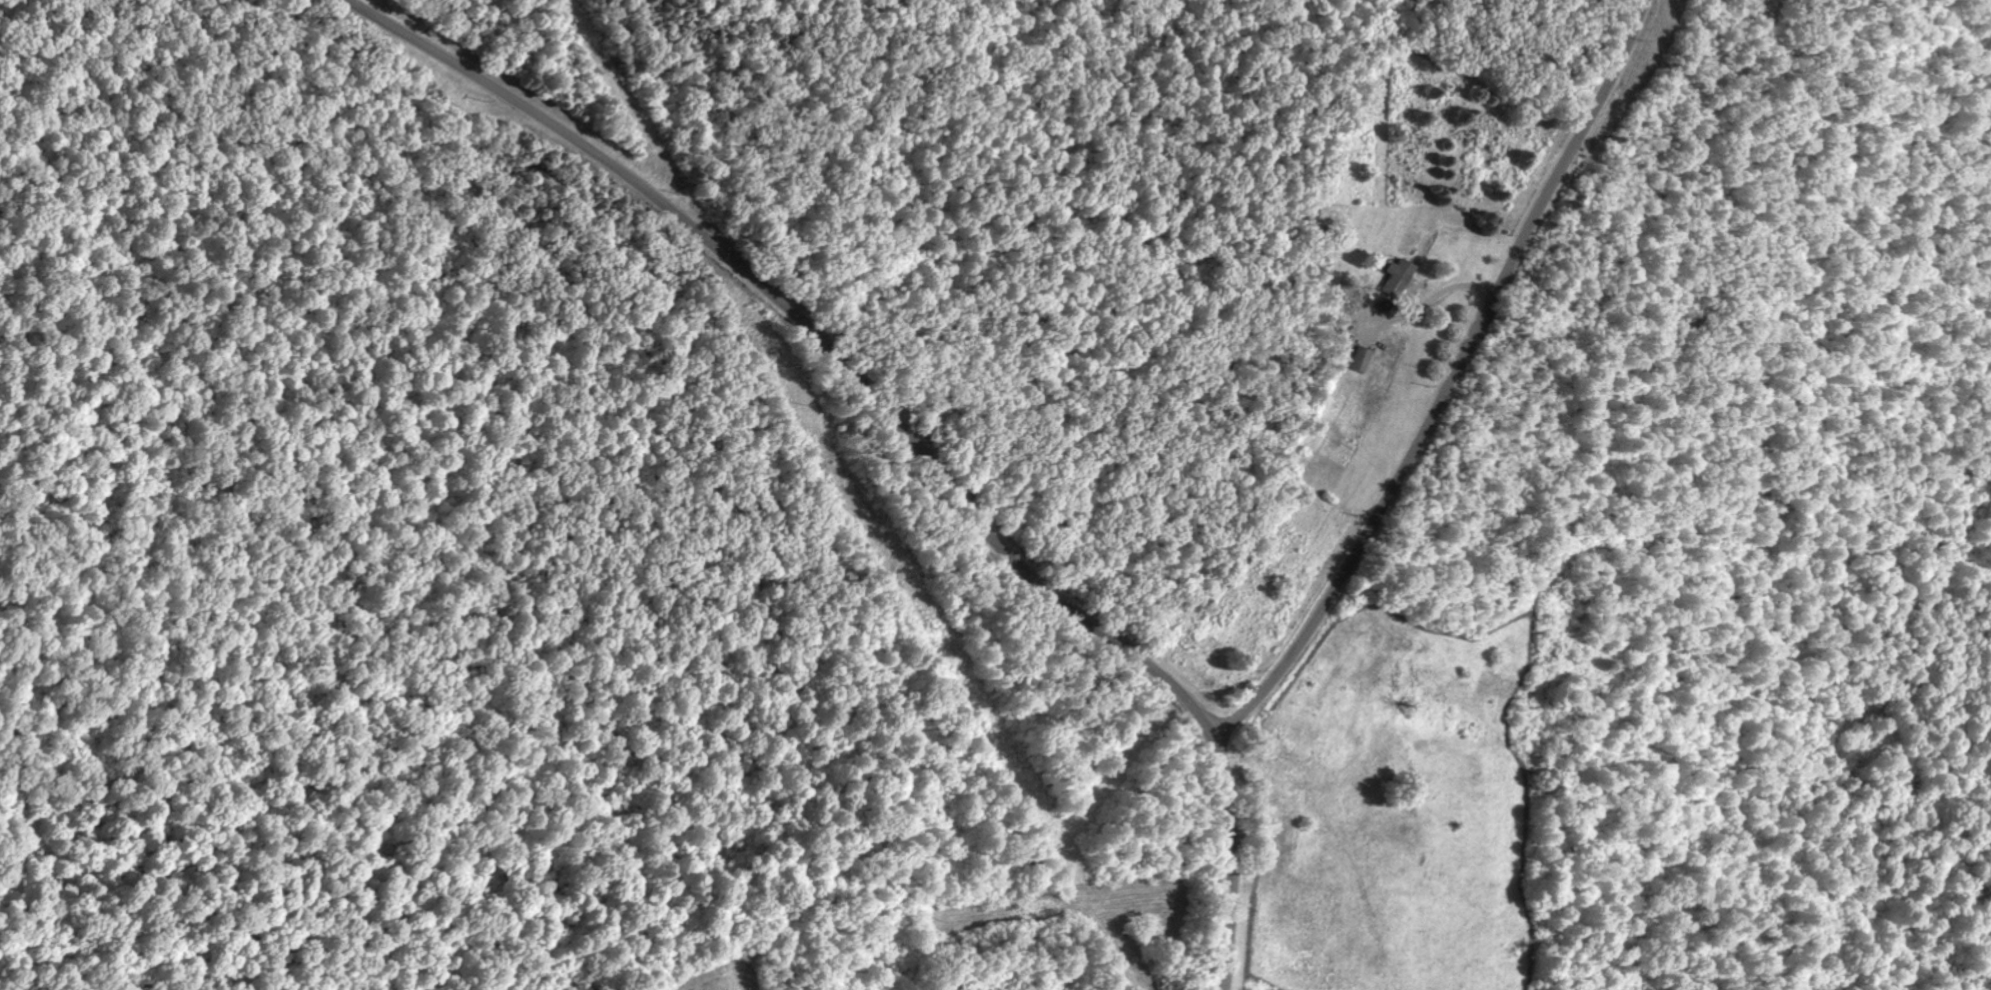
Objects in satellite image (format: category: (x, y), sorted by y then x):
building: (1400, 277)
building: (1386, 304)
building: (1363, 358)
road: (1447, 382)
road: (899, 423)

